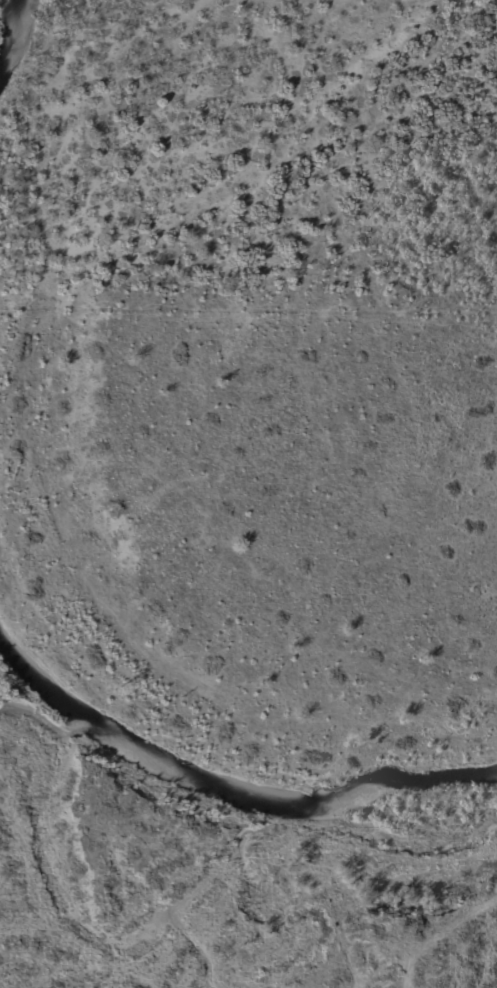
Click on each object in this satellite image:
river: (20, 42)
river: (222, 782)

